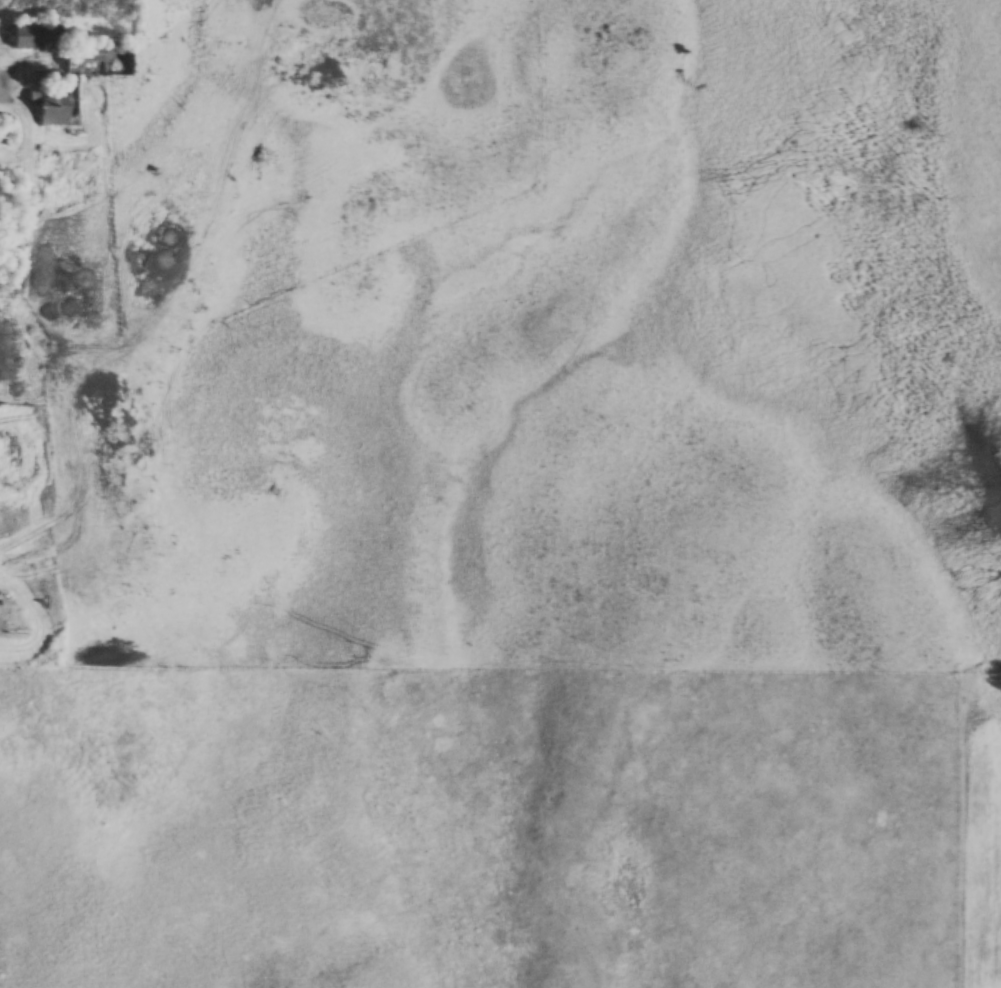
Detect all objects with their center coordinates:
building: (69, 69)
road: (1, 89)
building: (8, 121)

